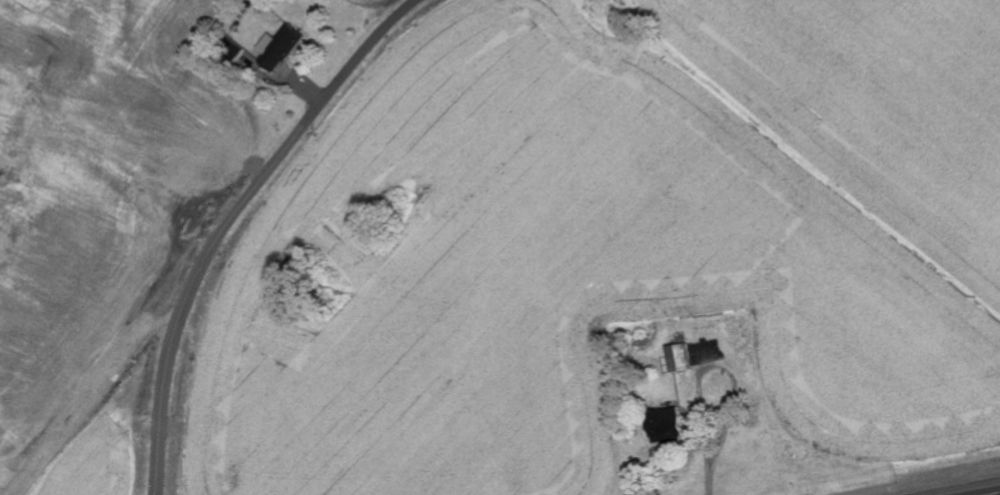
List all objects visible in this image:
building: (279, 49)
road: (230, 219)
building: (677, 359)
building: (664, 427)
road: (933, 482)

